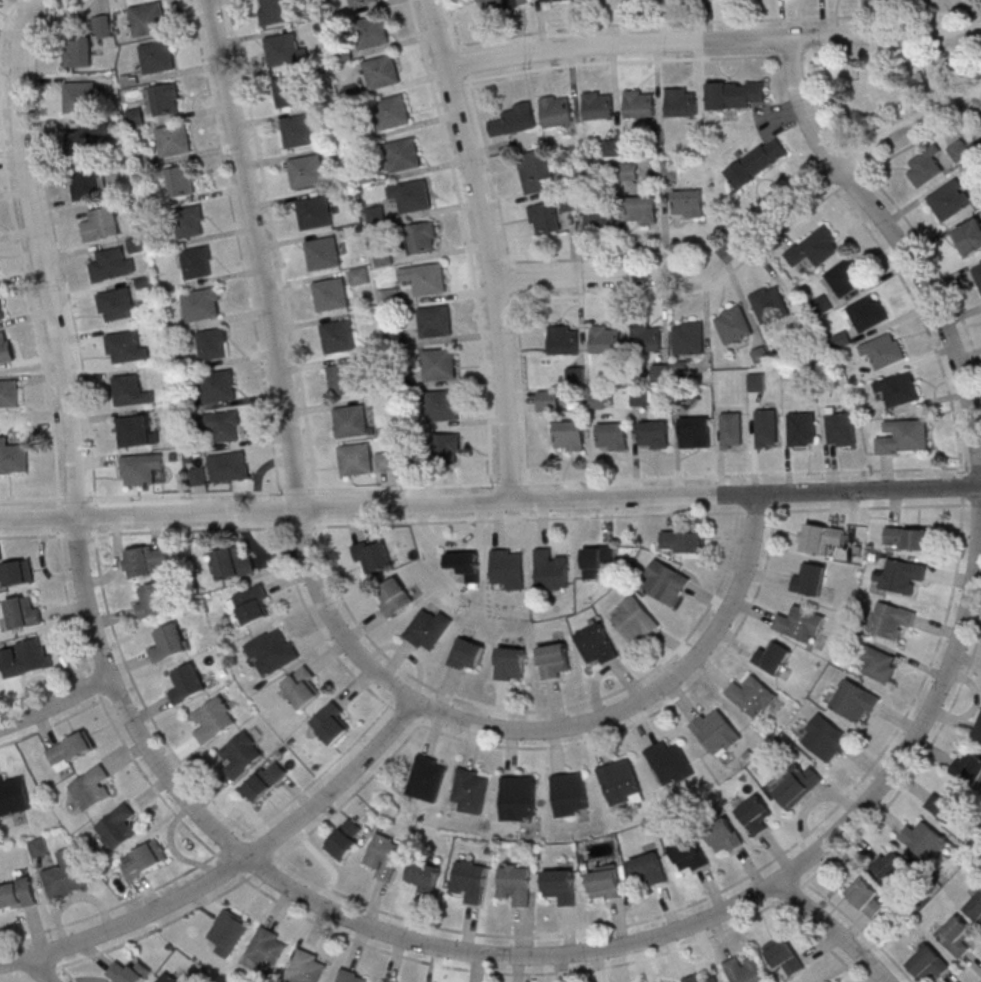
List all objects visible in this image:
building: (554, 0)
building: (359, 2)
building: (499, 5)
road: (979, 11)
building: (272, 12)
building: (148, 19)
road: (6, 20)
road: (717, 20)
road: (454, 25)
building: (102, 26)
building: (369, 31)
road: (712, 42)
building: (283, 50)
building: (78, 51)
building: (341, 53)
road: (786, 54)
building: (157, 56)
road: (623, 61)
road: (464, 62)
building: (381, 71)
building: (289, 90)
building: (82, 94)
building: (736, 94)
building: (163, 98)
building: (681, 101)
building: (639, 103)
building: (598, 105)
building: (556, 110)
building: (392, 112)
building: (135, 116)
building: (513, 120)
road: (960, 120)
building: (298, 131)
building: (89, 138)
building: (174, 139)
building: (612, 147)
building: (959, 150)
building: (402, 155)
road: (819, 155)
building: (756, 162)
building: (925, 167)
building: (535, 170)
building: (305, 171)
building: (365, 175)
building: (182, 180)
building: (86, 183)
building: (412, 197)
building: (950, 199)
building: (688, 203)
building: (642, 209)
building: (313, 213)
building: (375, 215)
building: (544, 217)
building: (601, 218)
building: (190, 221)
building: (101, 223)
road: (749, 232)
building: (422, 237)
building: (969, 237)
building: (136, 244)
building: (815, 247)
road: (239, 248)
road: (469, 248)
road: (487, 248)
road: (258, 254)
building: (321, 254)
road: (38, 255)
road: (676, 255)
building: (382, 256)
road: (496, 260)
building: (198, 262)
road: (739, 263)
building: (112, 264)
building: (977, 273)
building: (359, 276)
building: (845, 277)
building: (427, 280)
road: (511, 280)
building: (329, 294)
road: (501, 299)
building: (202, 303)
building: (770, 303)
building: (116, 304)
road: (32, 308)
building: (1, 310)
building: (868, 312)
building: (434, 322)
building: (734, 324)
building: (646, 336)
building: (338, 337)
building: (688, 337)
building: (605, 338)
building: (564, 339)
building: (843, 339)
building: (213, 343)
building: (5, 347)
building: (125, 347)
building: (884, 349)
building: (438, 365)
building: (660, 372)
building: (344, 379)
building: (756, 381)
building: (217, 386)
building: (898, 388)
building: (131, 390)
building: (9, 392)
building: (639, 397)
building: (597, 399)
building: (547, 400)
building: (442, 406)
building: (350, 421)
building: (224, 426)
building: (767, 427)
building: (841, 427)
building: (803, 429)
building: (731, 430)
building: (136, 431)
building: (694, 432)
building: (653, 434)
building: (569, 435)
building: (612, 436)
building: (904, 436)
building: (447, 446)
building: (13, 457)
building: (355, 460)
building: (385, 461)
building: (229, 466)
building: (141, 468)
building: (198, 475)
road: (490, 483)
road: (528, 496)
road: (490, 503)
road: (410, 522)
building: (821, 538)
building: (907, 538)
building: (683, 541)
building: (372, 556)
building: (598, 559)
building: (148, 560)
building: (234, 562)
building: (466, 565)
building: (509, 568)
building: (550, 568)
road: (331, 569)
building: (17, 572)
building: (900, 575)
building: (810, 579)
building: (665, 582)
building: (395, 596)
building: (152, 599)
building: (251, 604)
building: (25, 611)
building: (635, 619)
building: (891, 619)
building: (800, 622)
building: (429, 628)
building: (169, 641)
building: (596, 644)
building: (272, 651)
building: (467, 654)
building: (773, 657)
building: (29, 658)
building: (555, 660)
building: (510, 663)
building: (879, 663)
building: (187, 684)
building: (303, 687)
road: (396, 695)
building: (752, 695)
building: (855, 701)
road: (55, 703)
road: (428, 714)
building: (214, 719)
building: (332, 723)
building: (978, 729)
road: (535, 731)
building: (716, 731)
building: (826, 738)
road: (579, 742)
building: (72, 749)
building: (241, 754)
building: (670, 763)
building: (969, 767)
building: (427, 778)
building: (266, 780)
building: (620, 782)
building: (798, 785)
building: (91, 788)
building: (471, 789)
building: (570, 794)
building: (13, 795)
building: (518, 798)
building: (947, 803)
building: (755, 814)
building: (119, 826)
building: (725, 836)
building: (346, 839)
building: (925, 839)
building: (39, 847)
road: (217, 853)
building: (689, 854)
building: (385, 855)
building: (145, 858)
building: (891, 865)
building: (649, 868)
road: (229, 869)
road: (258, 870)
building: (65, 873)
building: (424, 876)
building: (470, 880)
building: (604, 881)
building: (515, 883)
road: (778, 883)
building: (560, 886)
building: (18, 893)
building: (867, 895)
building: (975, 907)
road: (437, 926)
building: (229, 931)
road: (833, 931)
building: (956, 936)
building: (267, 950)
building: (783, 955)
building: (929, 963)
building: (307, 967)
road: (41, 968)
road: (49, 969)
building: (745, 969)
building: (130, 971)
road: (68, 973)
building: (351, 976)
building: (169, 978)
building: (699, 978)
road: (980, 980)
building: (380, 981)

